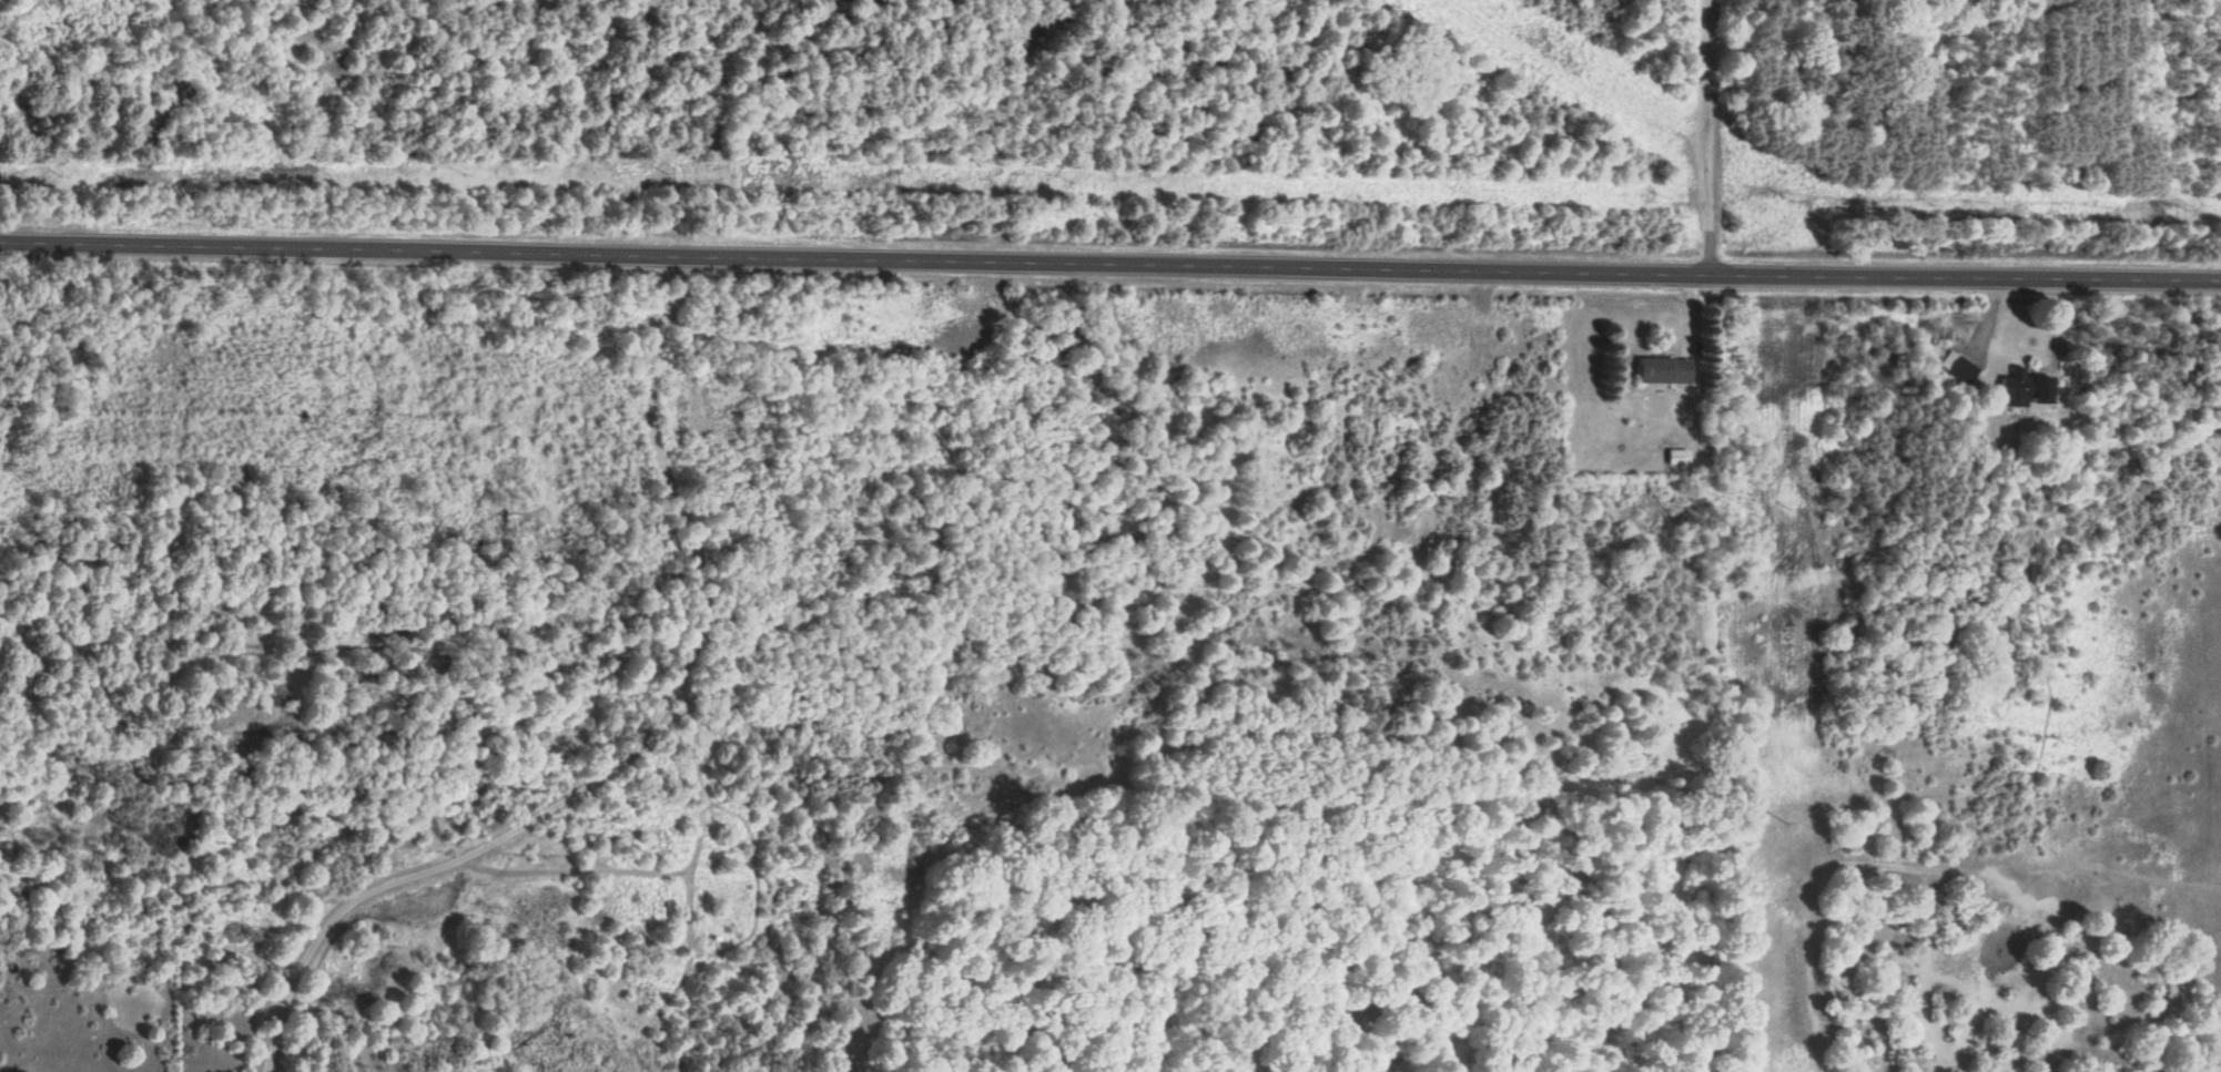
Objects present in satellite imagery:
road: (1702, 139)
road: (1109, 265)
building: (1665, 370)
building: (1677, 458)

